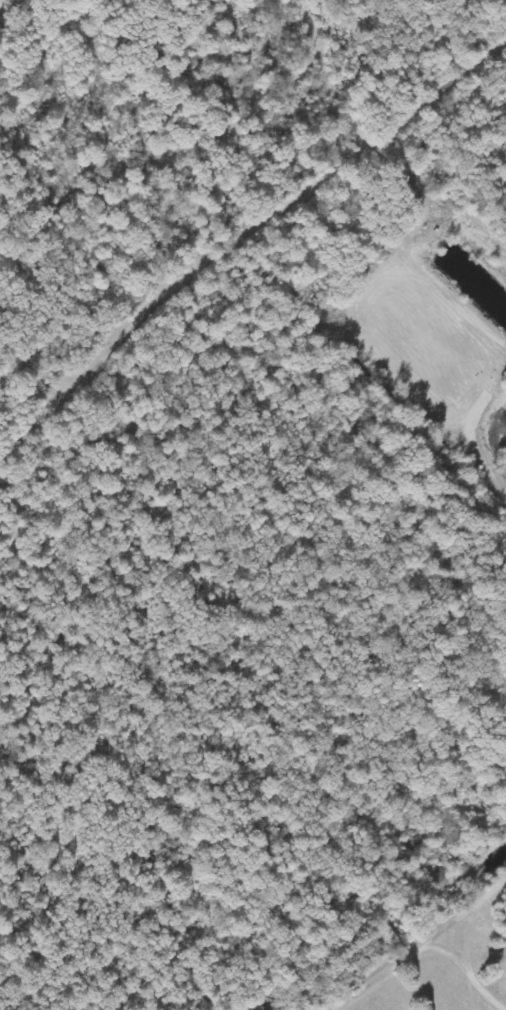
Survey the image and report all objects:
road: (68, 440)
road: (503, 1000)

